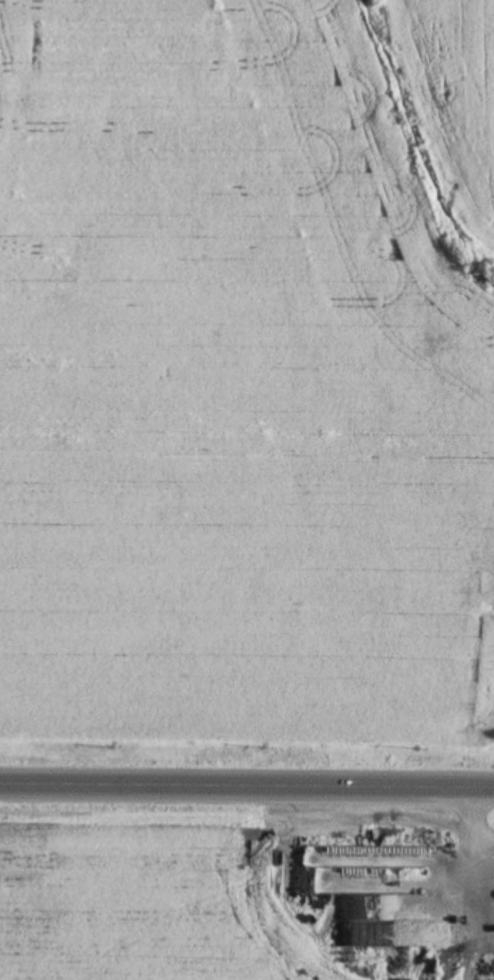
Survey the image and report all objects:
road: (247, 780)
road: (479, 906)

